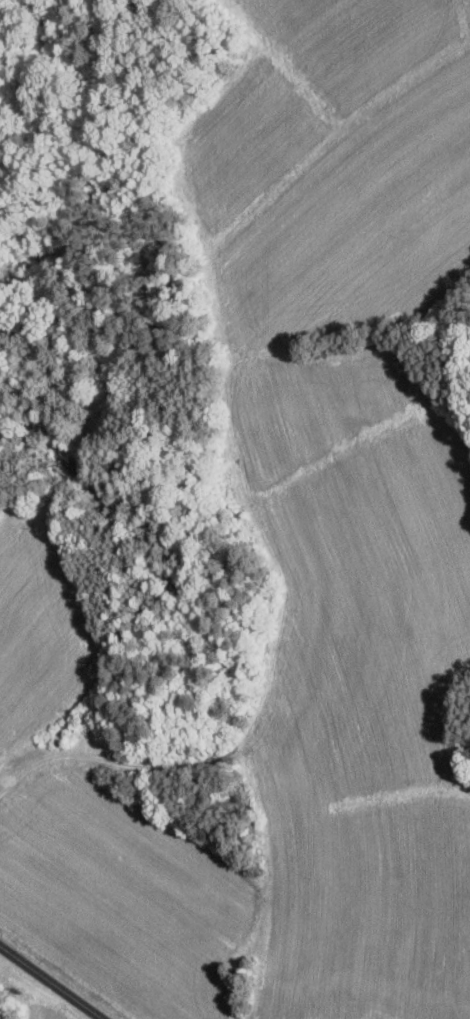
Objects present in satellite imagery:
road: (50, 983)

